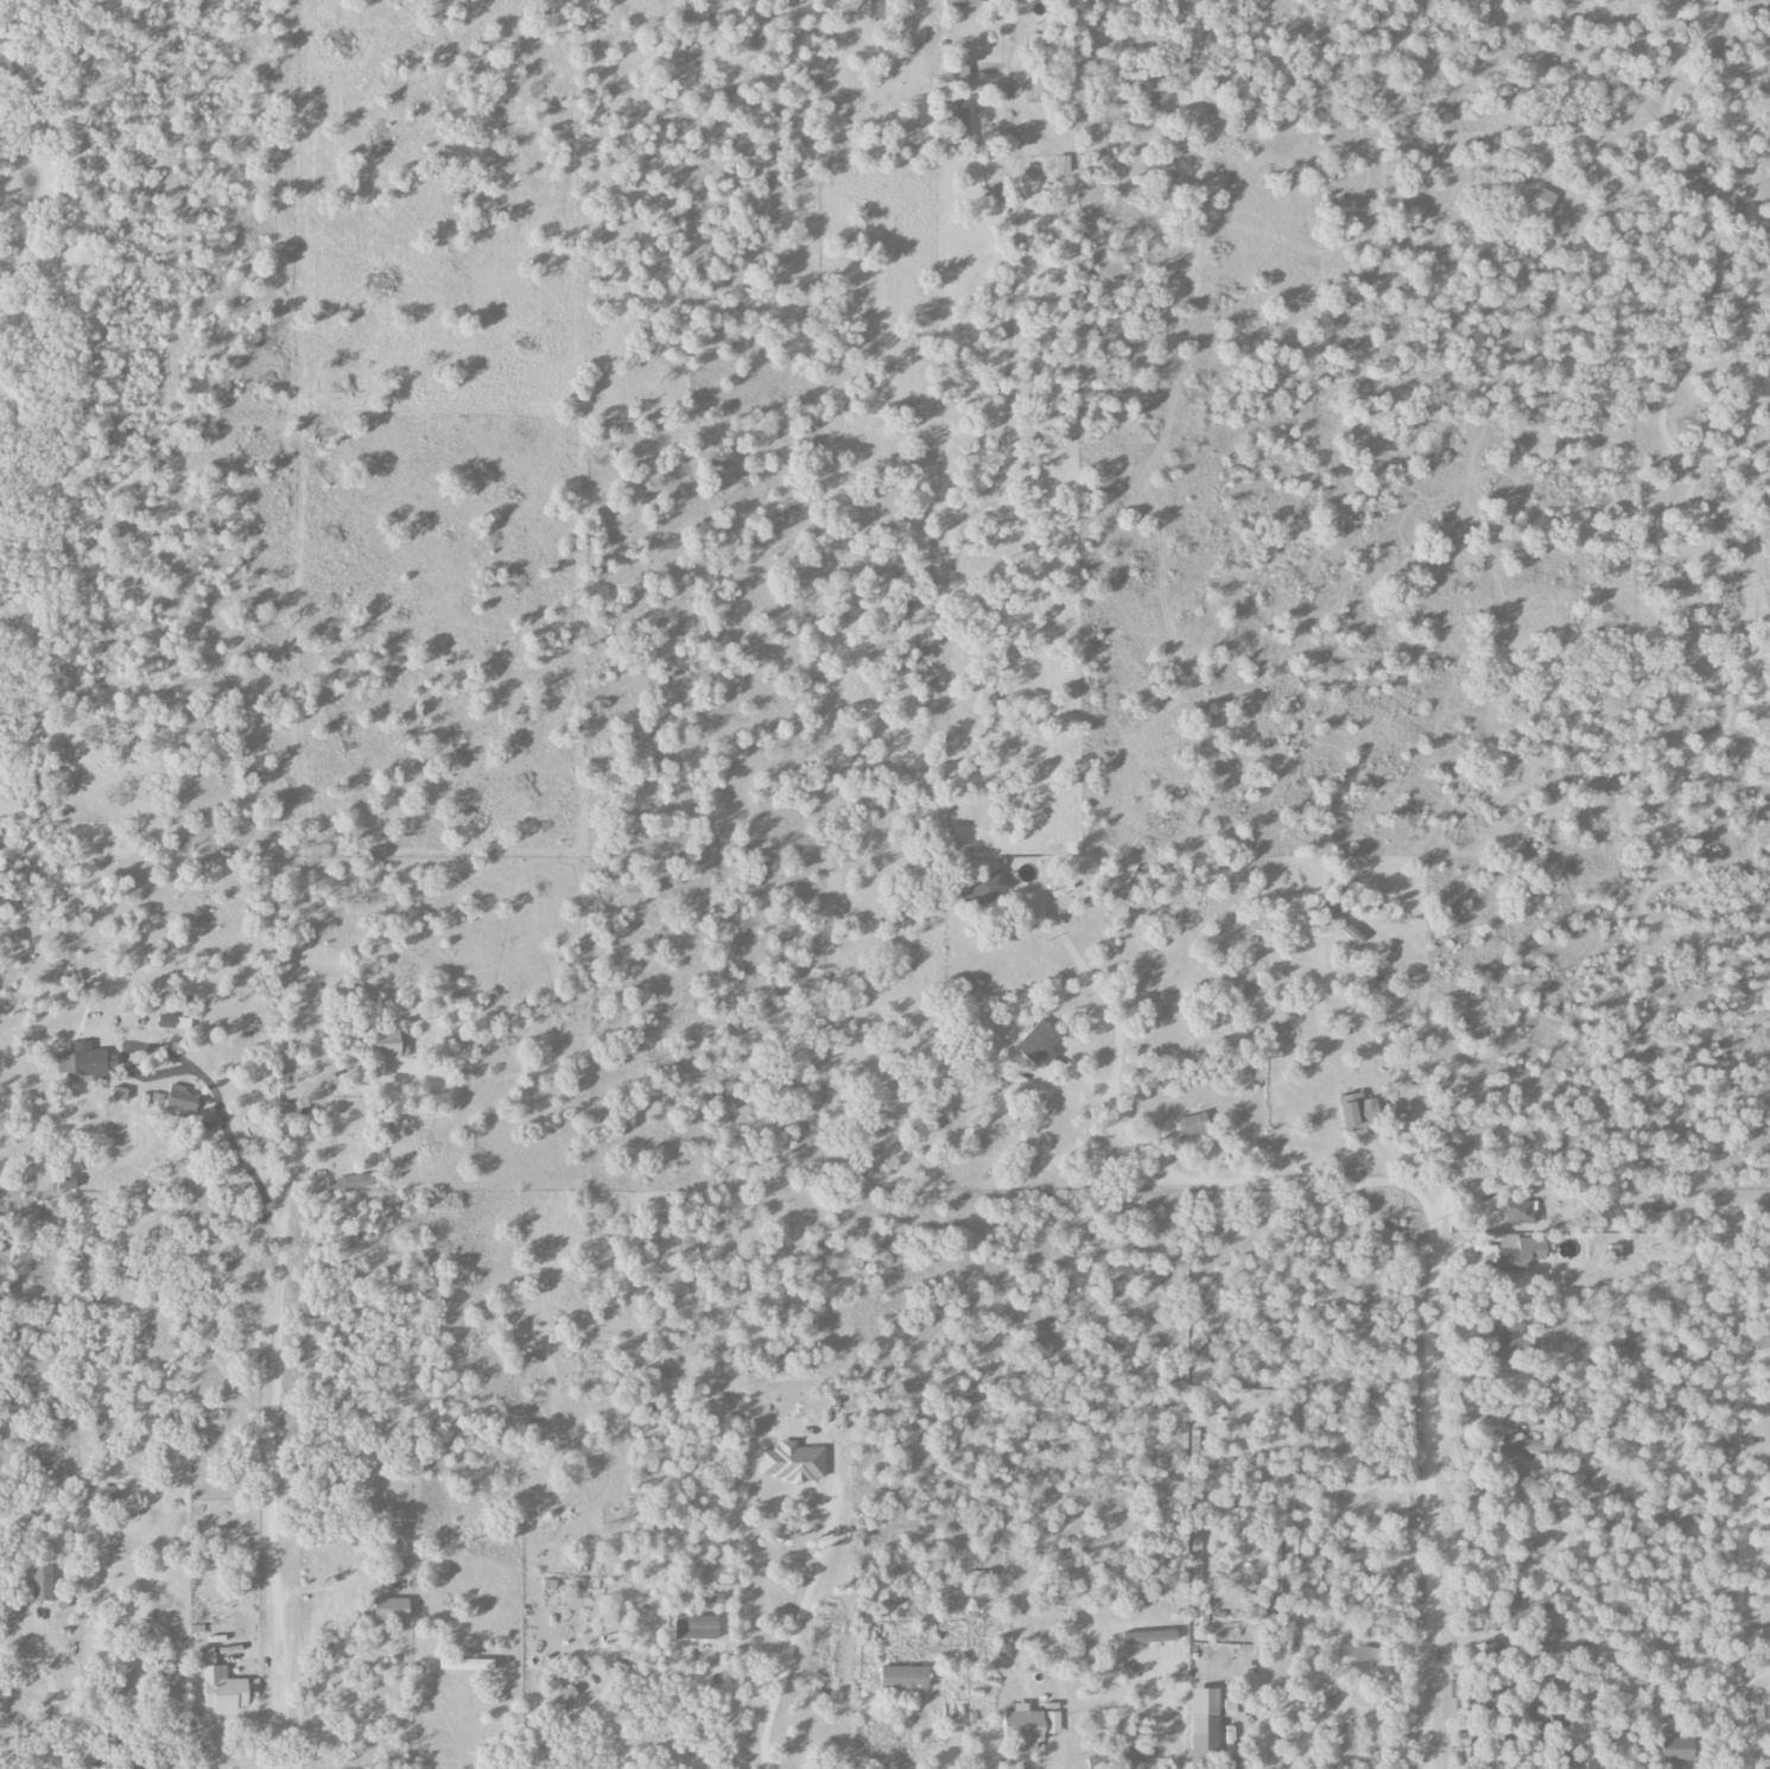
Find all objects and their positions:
building: (960, 4)
building: (1034, 42)
road: (1003, 72)
building: (963, 120)
building: (1061, 165)
building: (988, 888)
road: (1249, 975)
building: (173, 1022)
building: (1336, 1034)
building: (1038, 1042)
building: (386, 1044)
road: (1111, 1058)
building: (84, 1064)
building: (119, 1093)
building: (180, 1099)
building: (1357, 1110)
road: (1033, 1111)
building: (1192, 1124)
road: (1204, 1140)
building: (349, 1182)
building: (65, 1184)
building: (1520, 1212)
road: (280, 1249)
building: (1520, 1253)
building: (1613, 1253)
road: (1433, 1300)
building: (1762, 1332)
building: (1501, 1344)
building: (1521, 1446)
building: (792, 1463)
road: (1736, 1559)
building: (1313, 1561)
building: (42, 1581)
building: (1269, 1598)
building: (1527, 1604)
building: (391, 1610)
building: (696, 1628)
road: (1096, 1630)
road: (794, 1632)
road: (274, 1649)
building: (1356, 1657)
building: (467, 1663)
building: (903, 1678)
building: (221, 1686)
building: (557, 1701)
building: (1483, 1704)
road: (56, 1706)
road: (440, 1718)
building: (1204, 1724)
building: (1027, 1726)
road: (613, 1727)
building: (1676, 1749)
road: (945, 1754)
building: (1114, 1758)
road: (1048, 1763)

